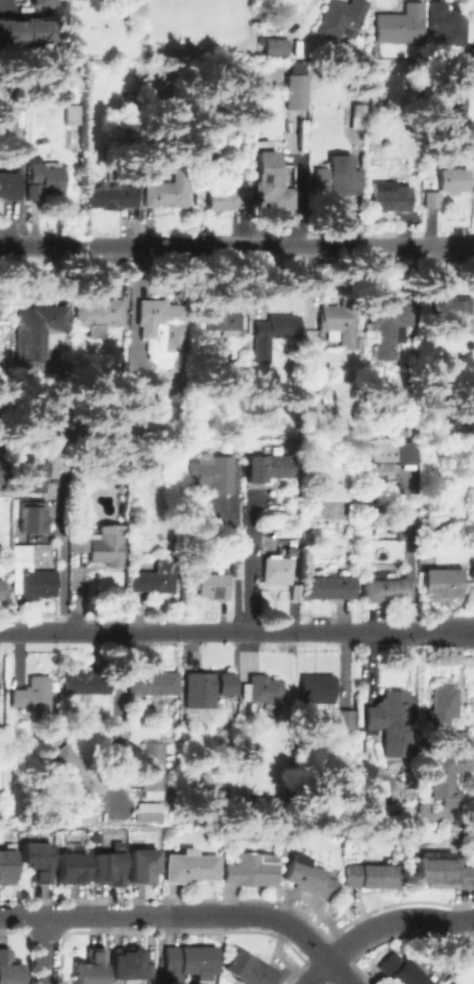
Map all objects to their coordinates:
building: (42, 2)
road: (3, 6)
road: (18, 12)
building: (341, 16)
building: (399, 23)
building: (447, 24)
building: (26, 31)
building: (275, 46)
building: (376, 49)
building: (73, 76)
building: (295, 92)
building: (11, 93)
building: (448, 101)
building: (128, 103)
building: (374, 103)
building: (357, 113)
building: (71, 114)
building: (240, 116)
building: (206, 152)
building: (46, 176)
building: (334, 177)
building: (266, 178)
building: (453, 178)
building: (9, 184)
building: (164, 189)
building: (33, 191)
building: (109, 195)
building: (224, 196)
building: (392, 196)
building: (432, 198)
road: (237, 250)
building: (450, 308)
building: (96, 315)
building: (222, 316)
building: (332, 316)
building: (274, 322)
building: (386, 322)
building: (37, 328)
building: (163, 328)
building: (118, 387)
building: (137, 391)
building: (397, 430)
road: (5, 444)
building: (406, 451)
building: (272, 466)
building: (0, 472)
building: (212, 472)
building: (30, 477)
building: (473, 503)
building: (32, 517)
building: (306, 539)
road: (237, 540)
building: (98, 545)
building: (276, 569)
building: (153, 575)
building: (32, 580)
building: (214, 582)
building: (440, 582)
road: (59, 584)
building: (328, 586)
building: (1, 587)
building: (384, 589)
road: (237, 632)
building: (85, 680)
building: (152, 681)
building: (316, 687)
building: (205, 689)
building: (264, 689)
building: (33, 696)
building: (444, 705)
road: (114, 718)
building: (345, 720)
building: (390, 722)
building: (457, 739)
building: (151, 766)
building: (74, 770)
building: (445, 776)
building: (266, 804)
building: (426, 812)
building: (147, 815)
building: (115, 847)
building: (35, 863)
building: (190, 866)
building: (5, 868)
building: (141, 869)
building: (250, 869)
building: (69, 870)
building: (106, 870)
building: (442, 871)
building: (371, 874)
building: (309, 878)
road: (188, 913)
road: (394, 919)
road: (45, 949)
building: (473, 959)
building: (188, 962)
building: (124, 965)
building: (251, 968)
building: (90, 969)
building: (8, 970)
building: (402, 971)
road: (318, 973)
building: (450, 983)
building: (453, 983)

